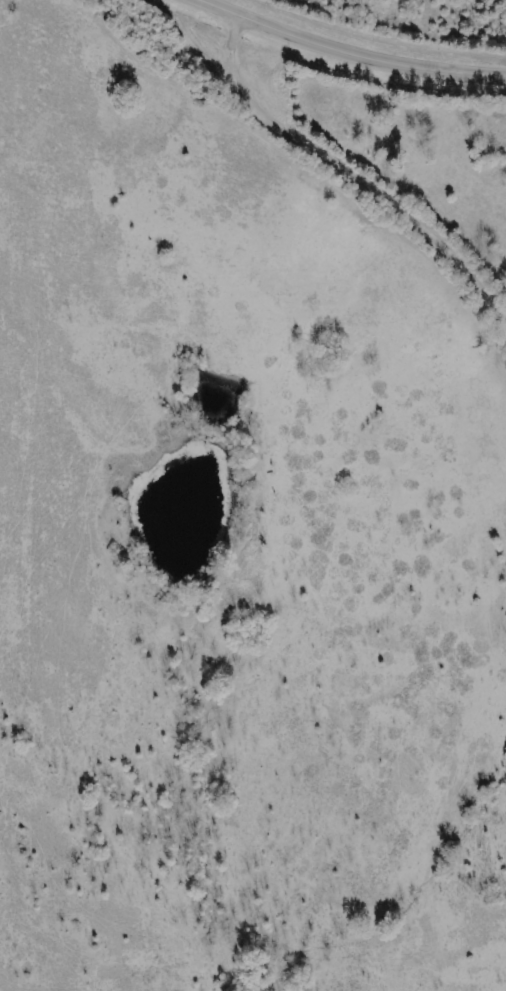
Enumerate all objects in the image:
road: (358, 50)
road: (320, 191)

